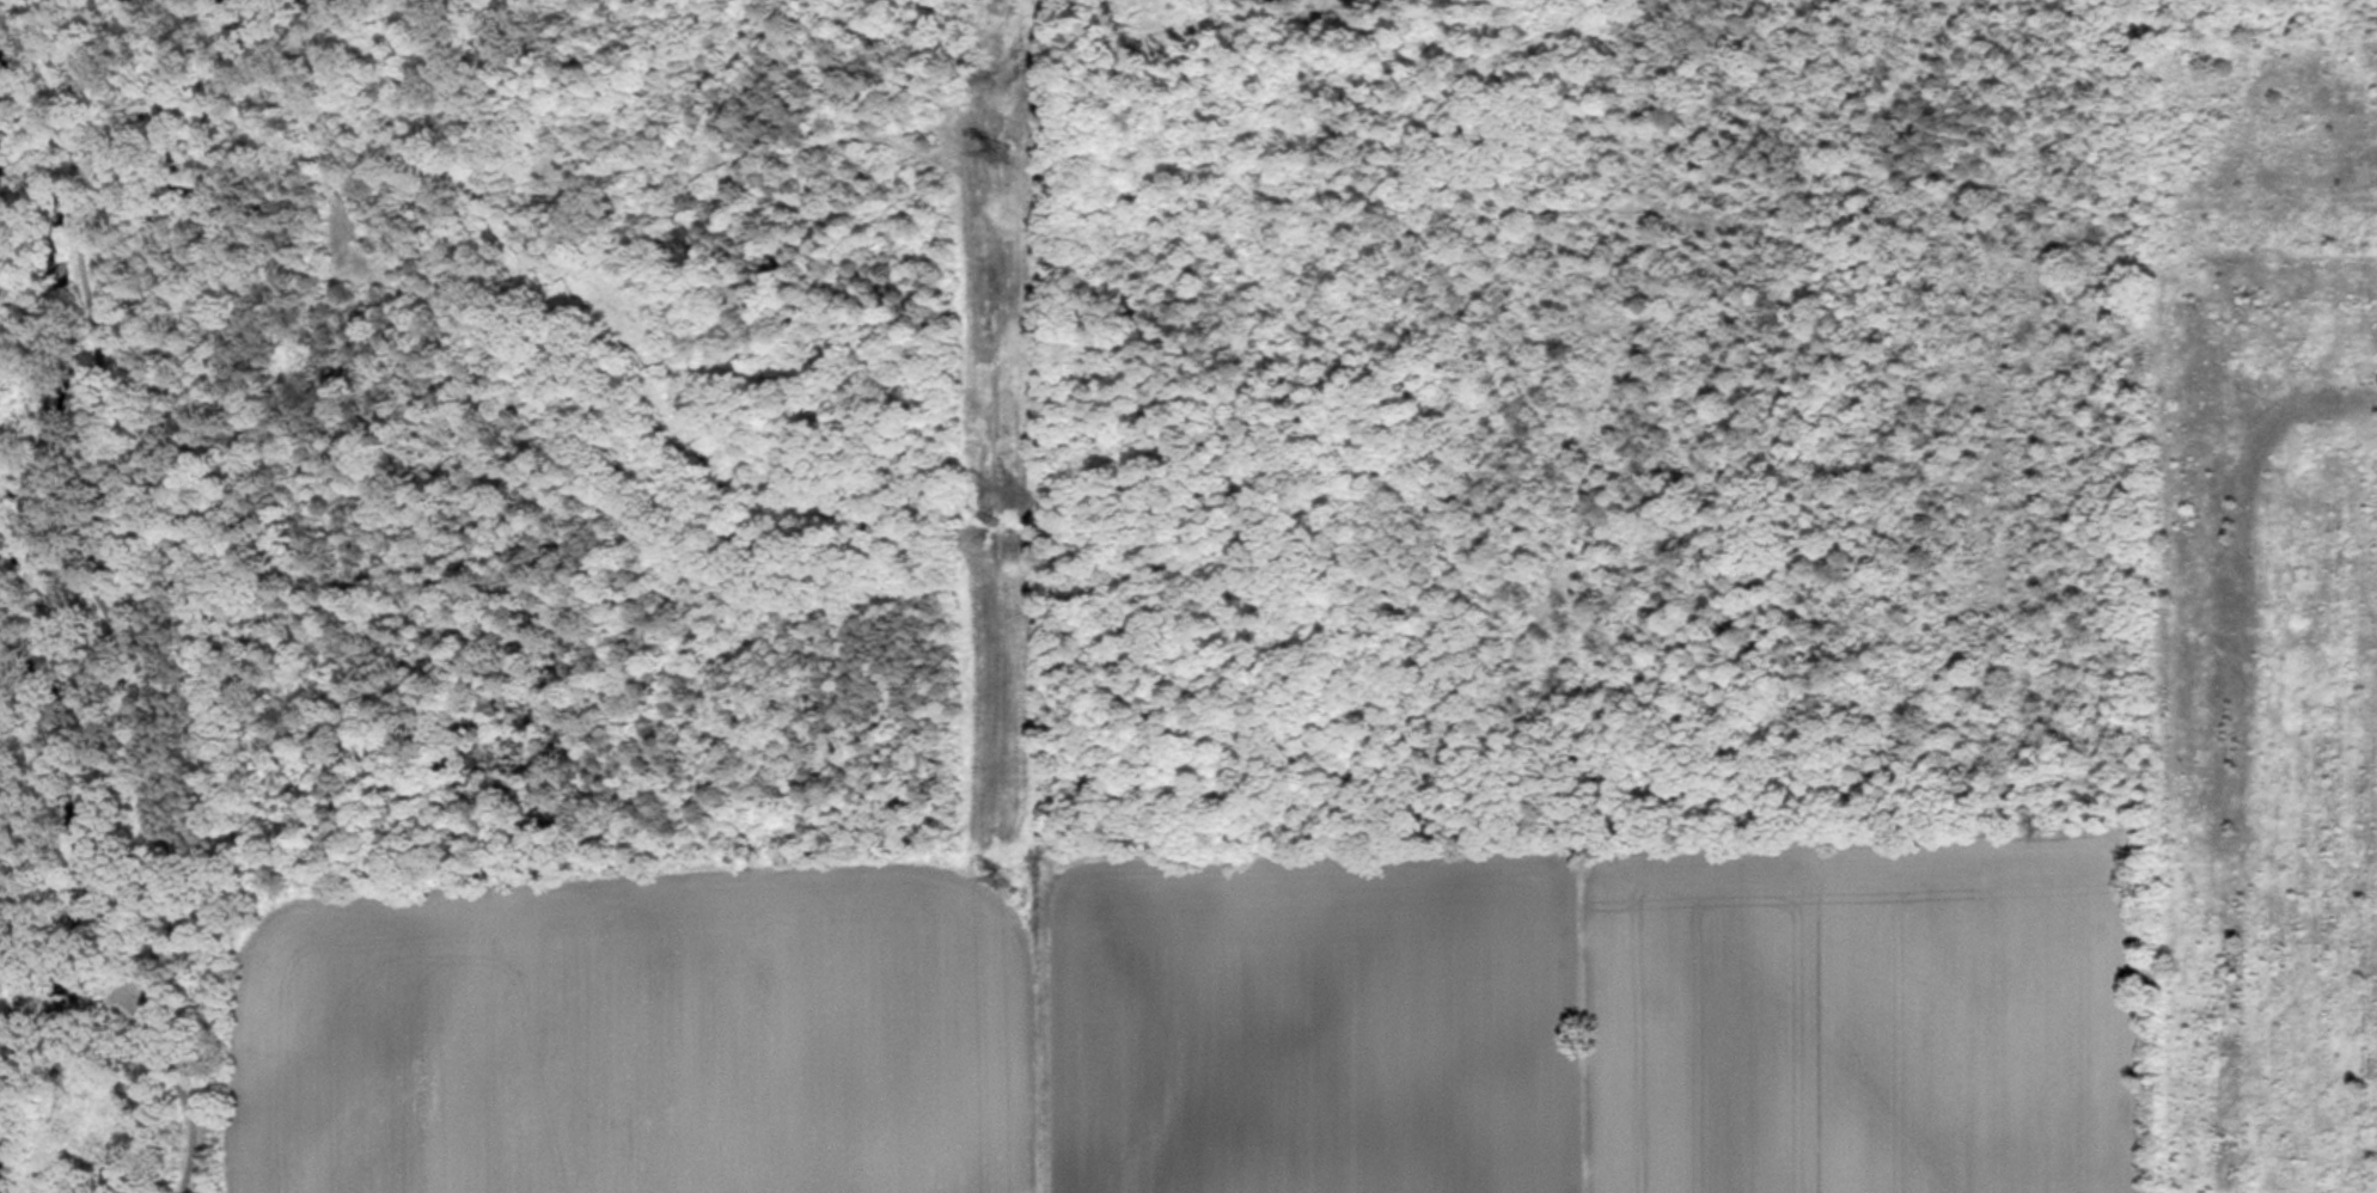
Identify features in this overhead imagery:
road: (325, 1)
power tower: (1001, 154)
road: (128, 602)
power tower: (1004, 877)

